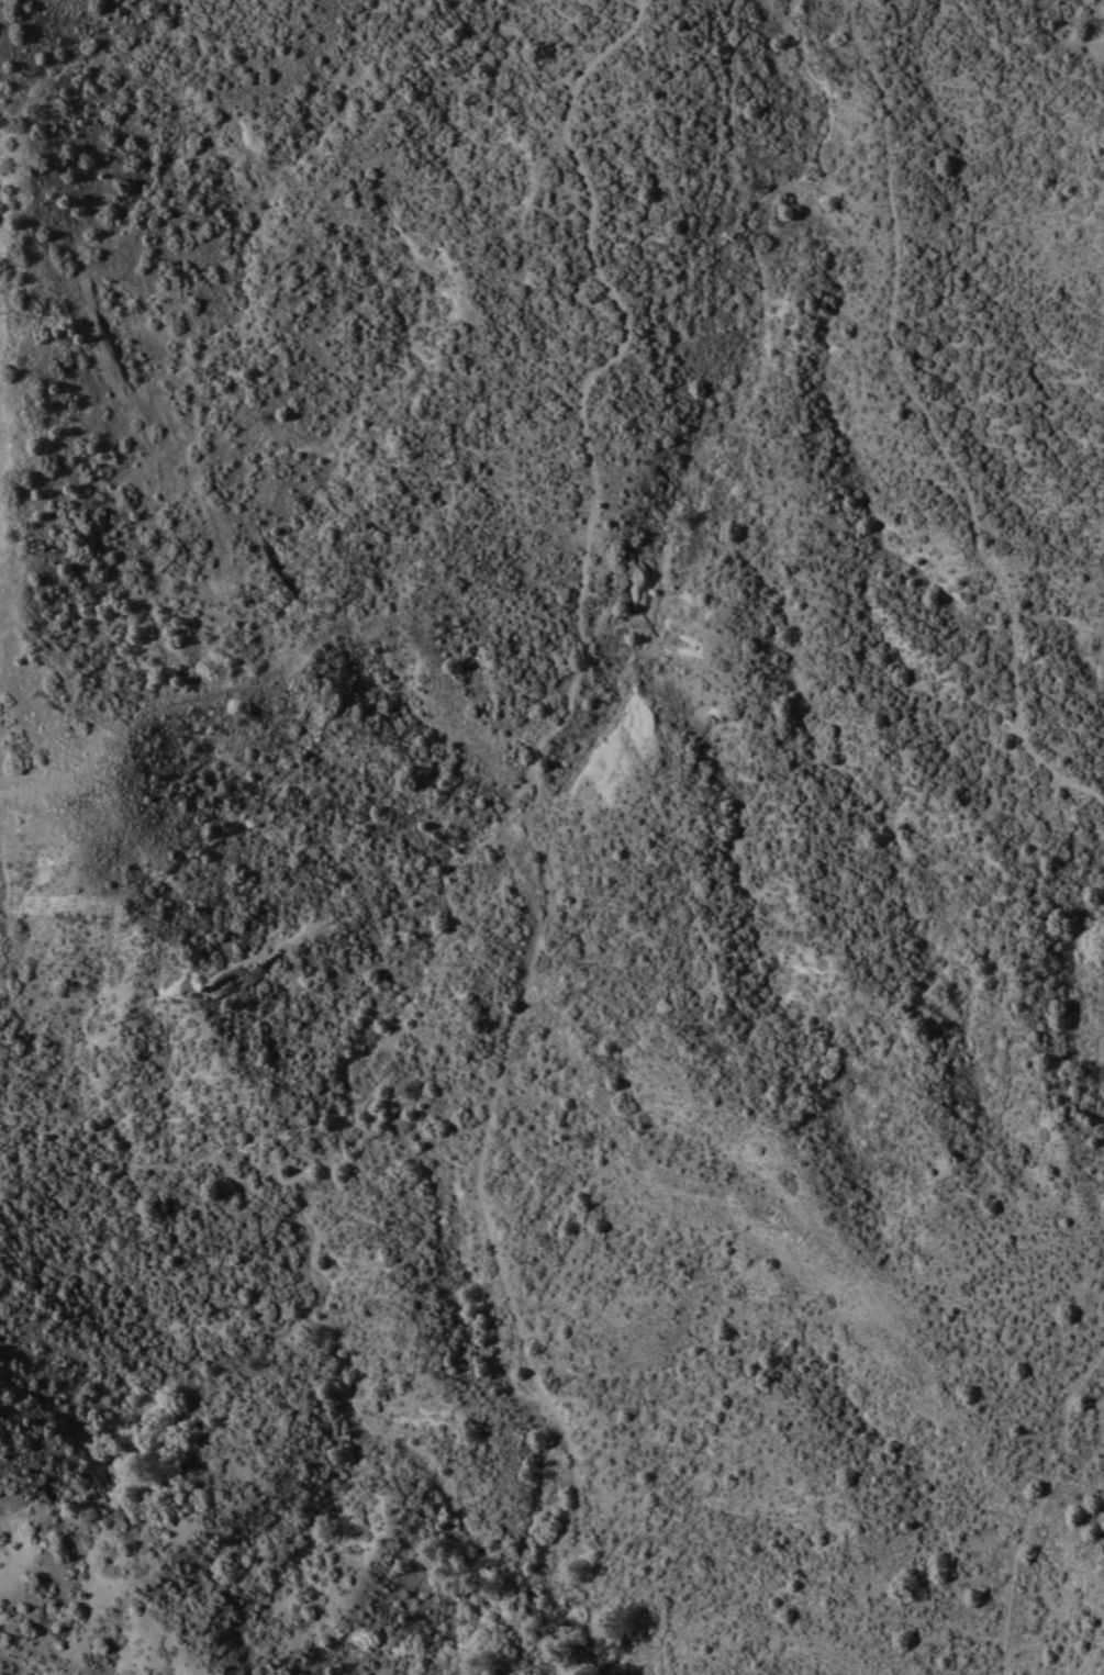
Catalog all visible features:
road: (727, 58)
road: (590, 382)
road: (2, 606)
road: (267, 678)
road: (671, 1173)
road: (1034, 1500)
road: (1066, 1554)

